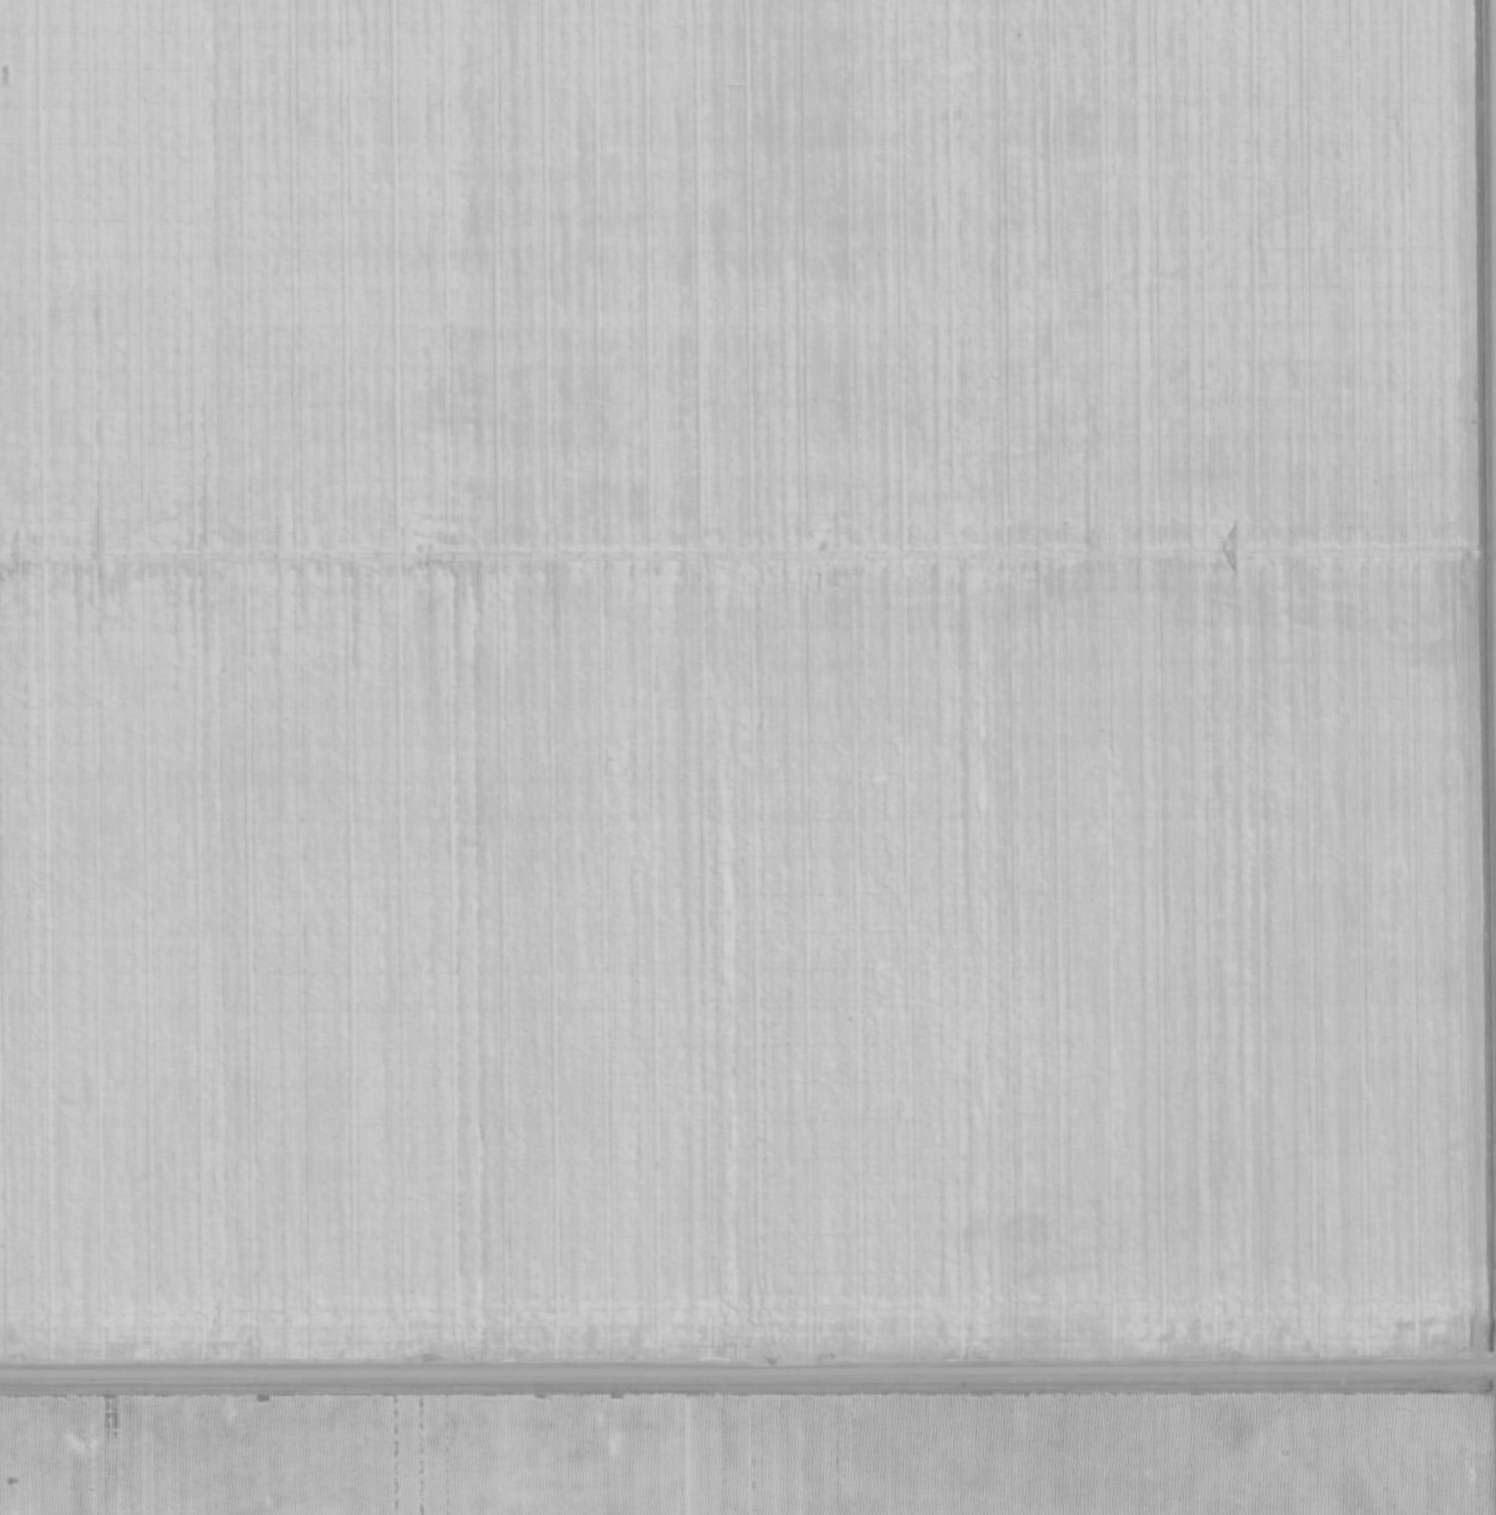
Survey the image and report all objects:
crop: (748, 757)

